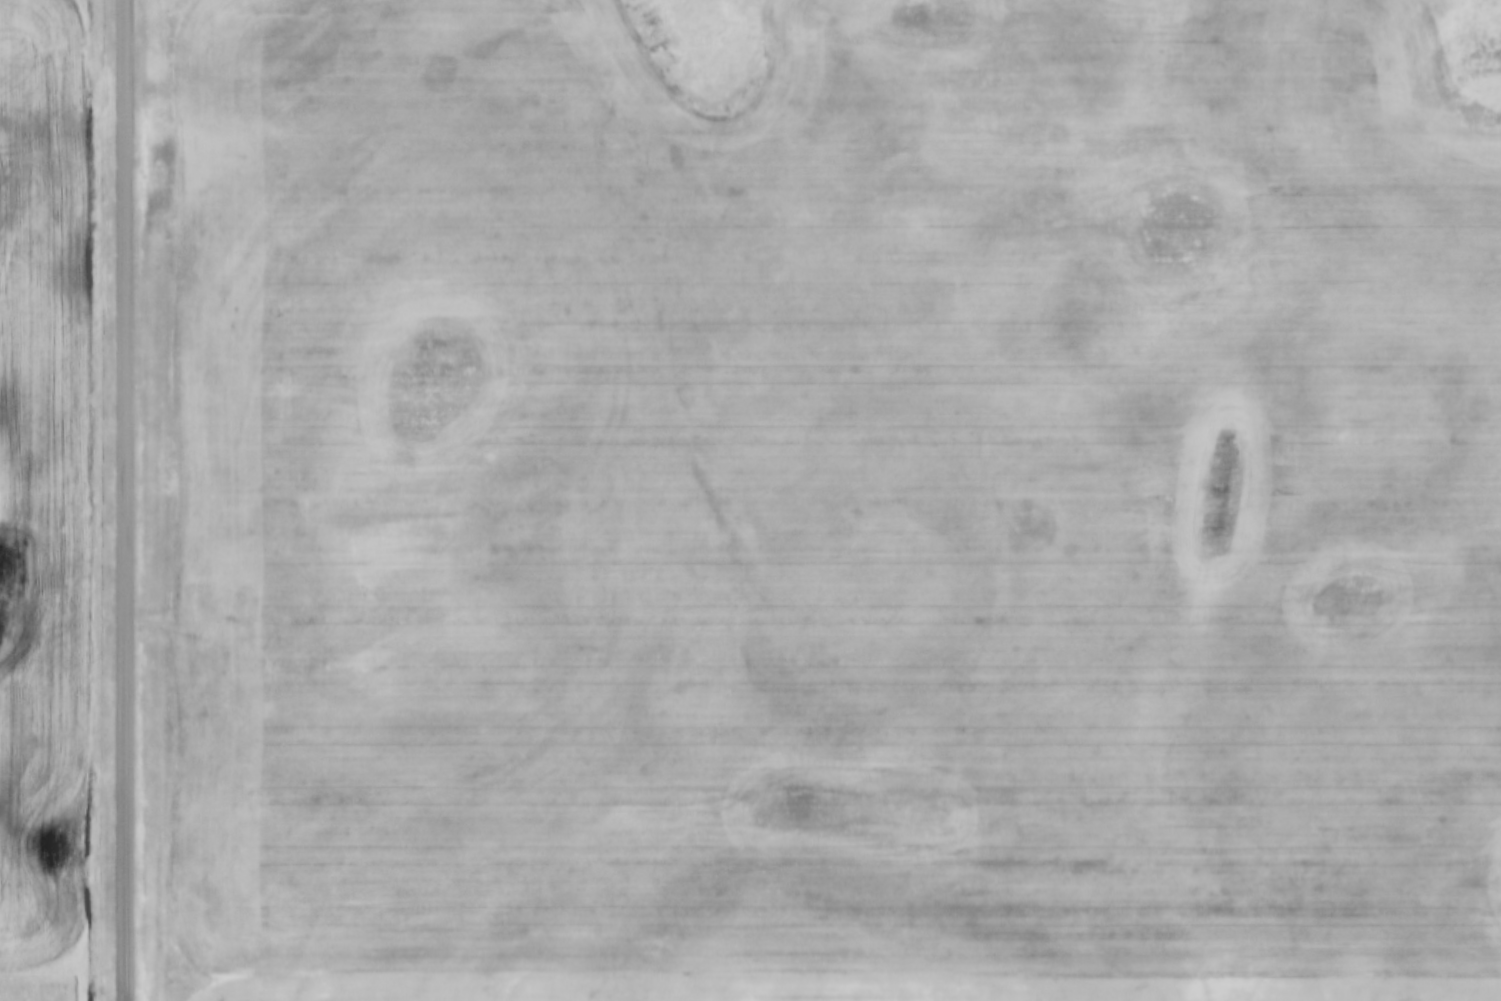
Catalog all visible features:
road: (129, 500)
park: (36, 987)

